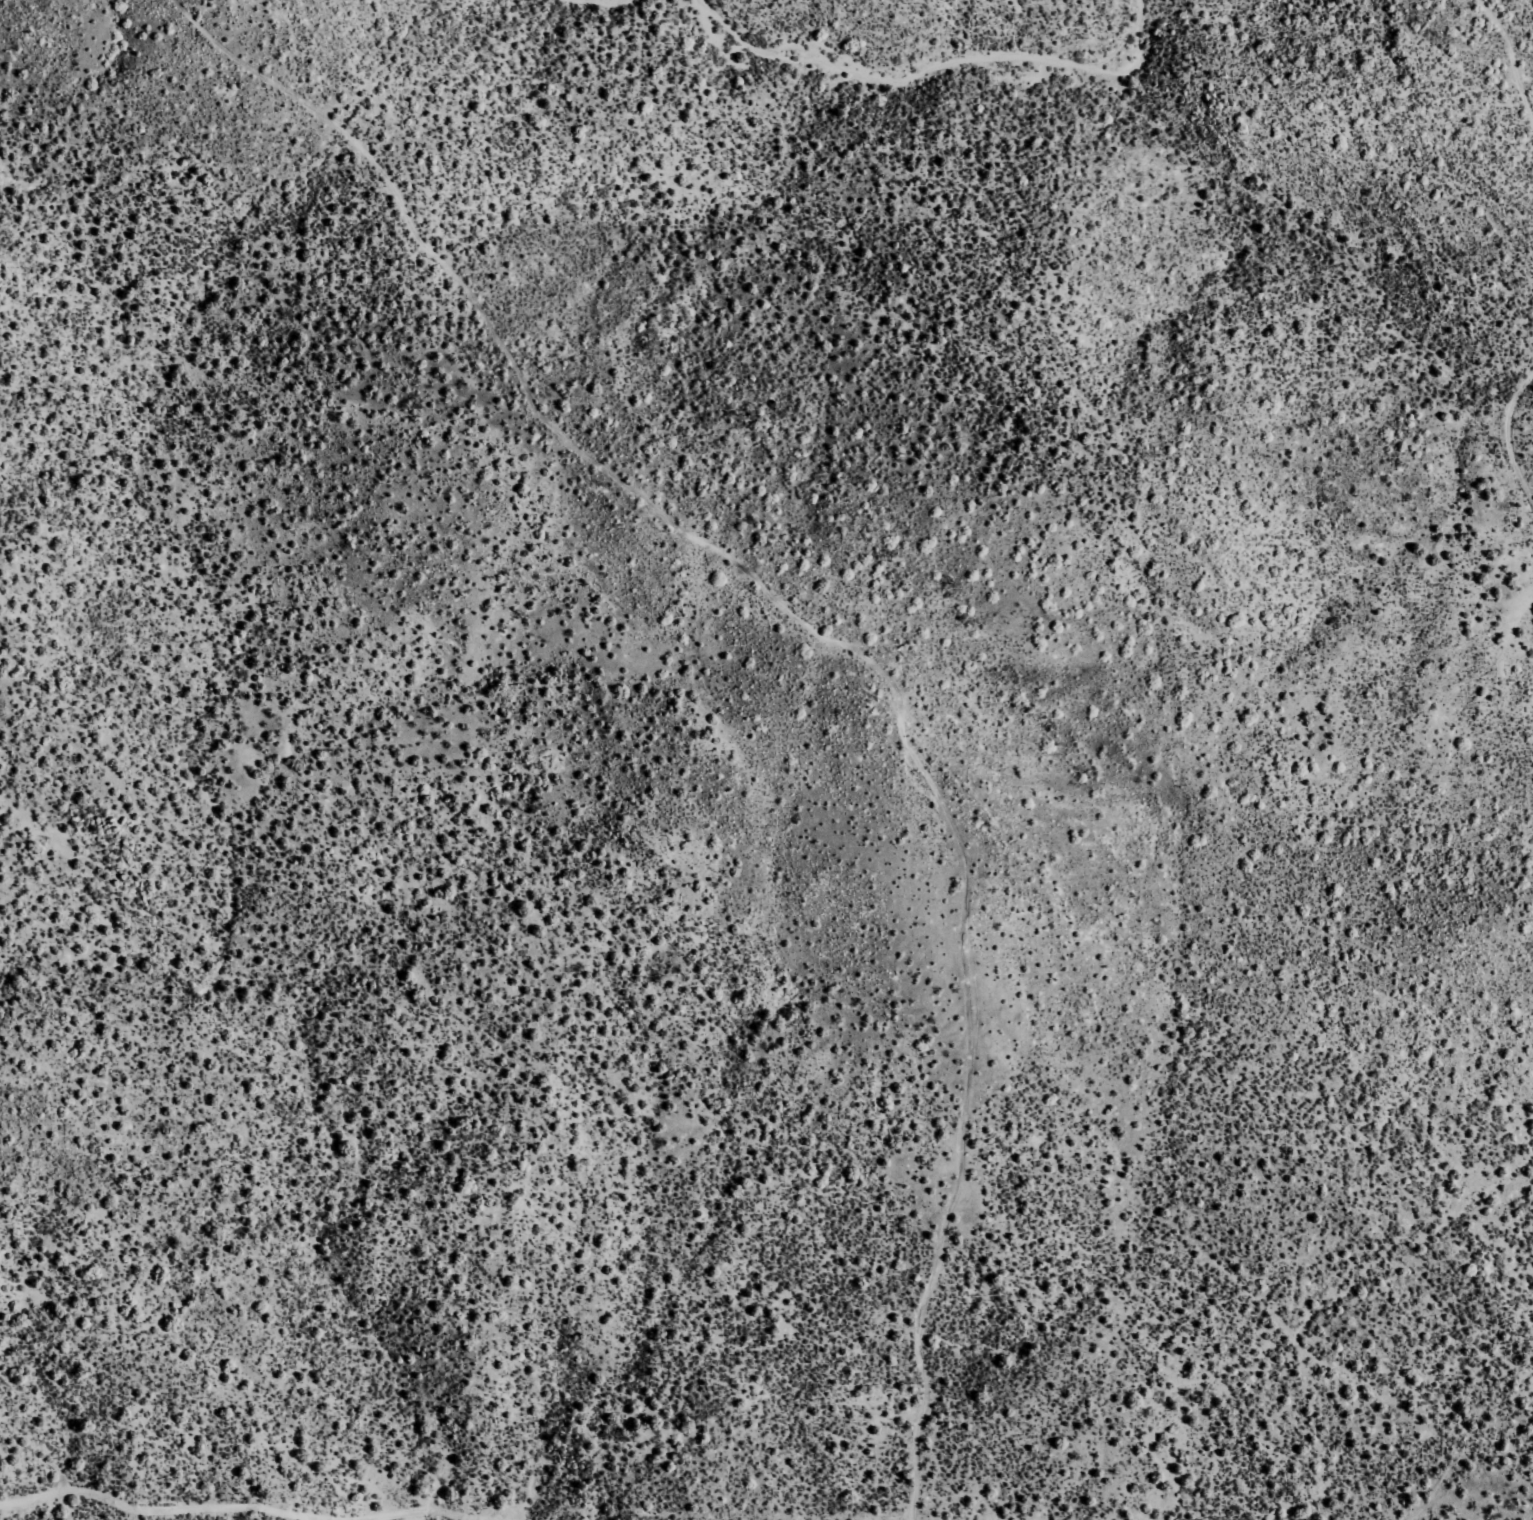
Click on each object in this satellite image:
road: (923, 1257)

